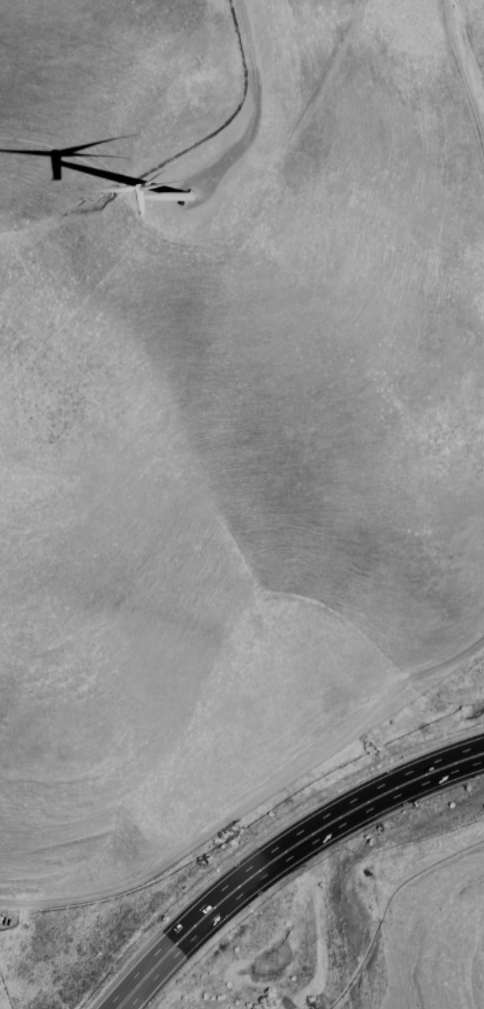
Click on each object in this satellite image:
road: (460, 80)
road: (240, 91)
wind turbine: (184, 190)
road: (253, 802)
road: (359, 806)
road: (191, 926)
road: (128, 989)
road: (111, 1005)
road: (113, 1005)

